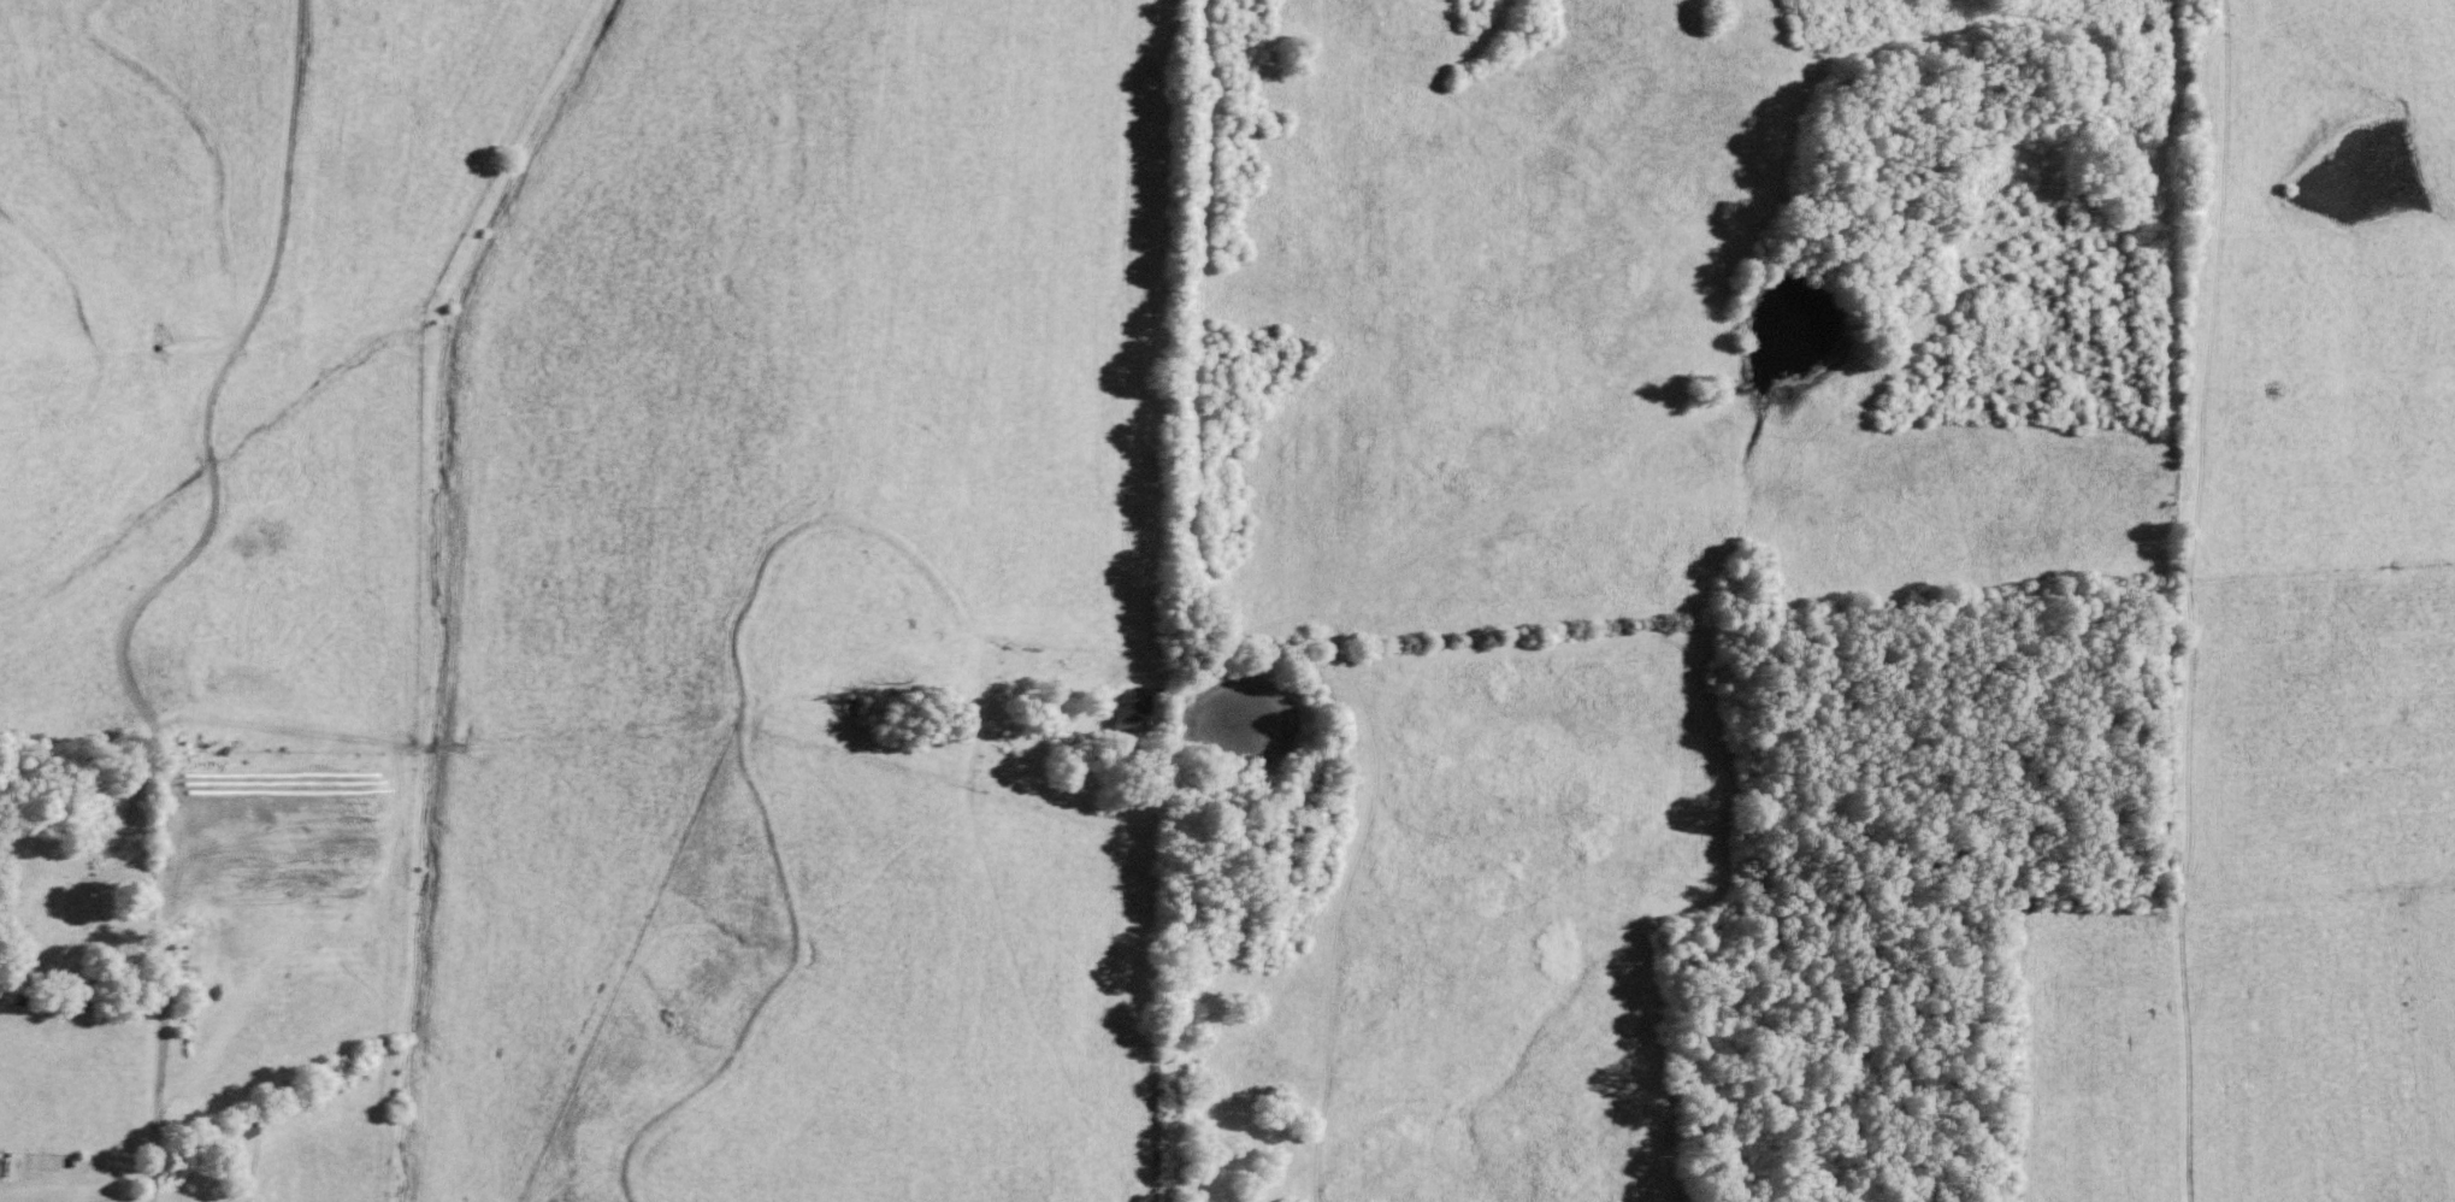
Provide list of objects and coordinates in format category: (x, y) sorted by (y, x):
park: (76, 992)
building: (244, 1135)

